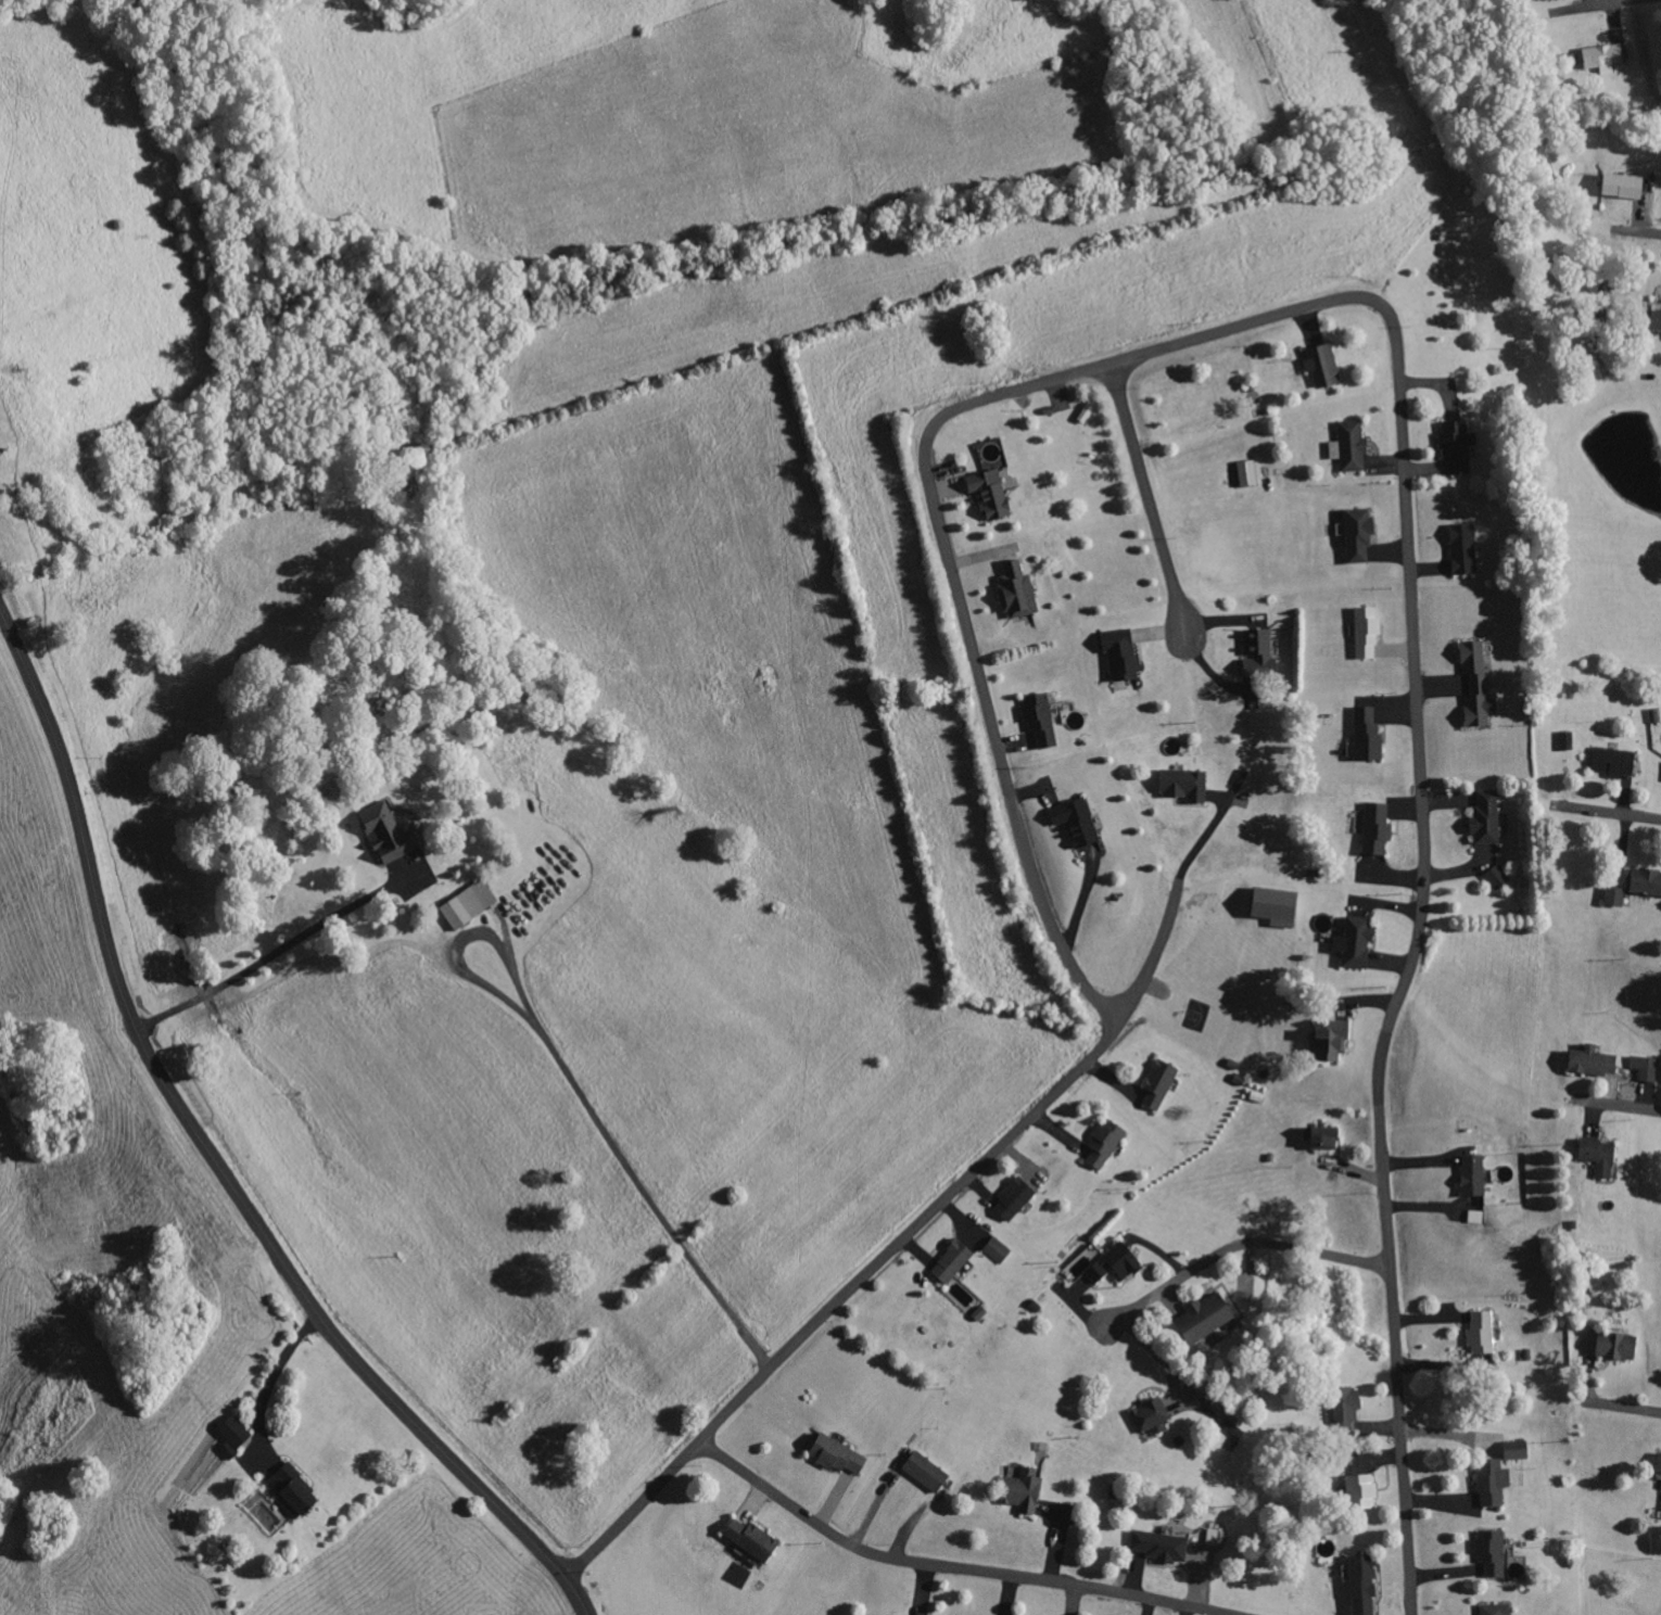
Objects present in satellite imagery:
road: (1608, 7)
building: (1603, 56)
building: (1623, 186)
road: (1641, 233)
building: (1657, 320)
road: (1150, 357)
building: (1322, 365)
building: (1349, 445)
building: (1456, 446)
building: (1247, 472)
building: (989, 493)
road: (1151, 504)
building: (1359, 534)
building: (1463, 548)
building: (1017, 590)
building: (1367, 633)
building: (1258, 651)
building: (1120, 654)
building: (1476, 684)
building: (1040, 719)
building: (1367, 733)
road: (996, 739)
building: (1568, 739)
building: (1613, 761)
building: (1184, 785)
road: (1609, 814)
building: (1486, 817)
building: (1076, 822)
building: (1377, 828)
building: (388, 834)
building: (1498, 876)
building: (1646, 880)
building: (1615, 895)
building: (468, 904)
building: (1275, 906)
building: (1354, 943)
road: (1412, 956)
building: (1330, 1044)
building: (1593, 1061)
building: (1646, 1068)
building: (1159, 1084)
road: (1620, 1107)
building: (1322, 1137)
building: (1105, 1143)
building: (1598, 1156)
road: (213, 1158)
building: (1473, 1175)
road: (965, 1182)
road: (645, 1191)
building: (1014, 1199)
building: (1476, 1217)
road: (1234, 1248)
building: (998, 1250)
building: (952, 1261)
building: (1080, 1264)
building: (1115, 1264)
building: (1205, 1318)
building: (1482, 1332)
building: (1616, 1346)
building: (1348, 1407)
road: (1626, 1409)
building: (1150, 1415)
building: (233, 1435)
building: (837, 1455)
building: (1659, 1464)
building: (926, 1472)
building: (1493, 1483)
building: (1023, 1490)
building: (291, 1491)
road: (633, 1513)
building: (751, 1539)
building: (1159, 1547)
building: (1493, 1552)
road: (944, 1566)
building: (1362, 1585)
building: (1496, 1610)

